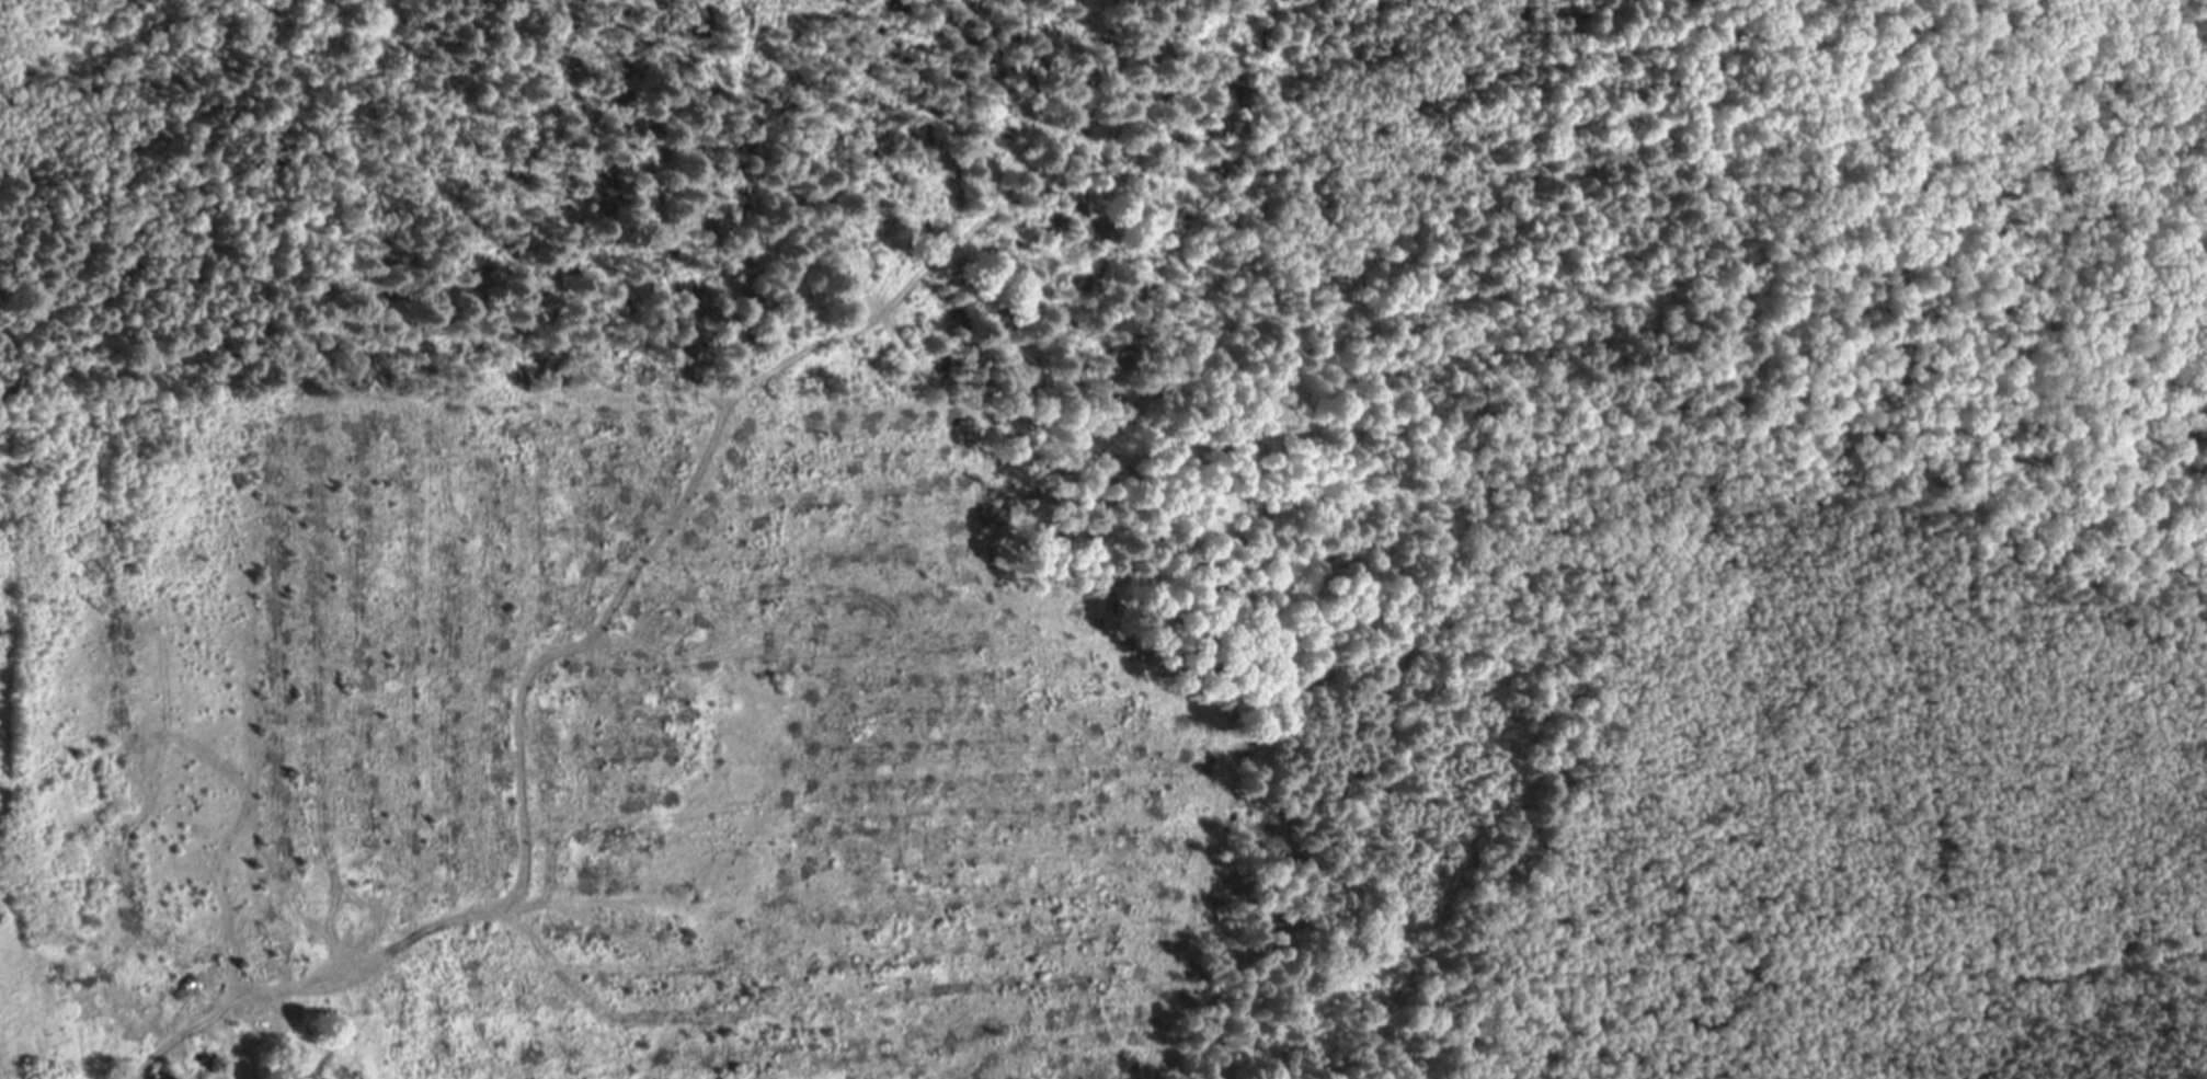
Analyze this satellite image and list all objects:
building: (159, 1077)

